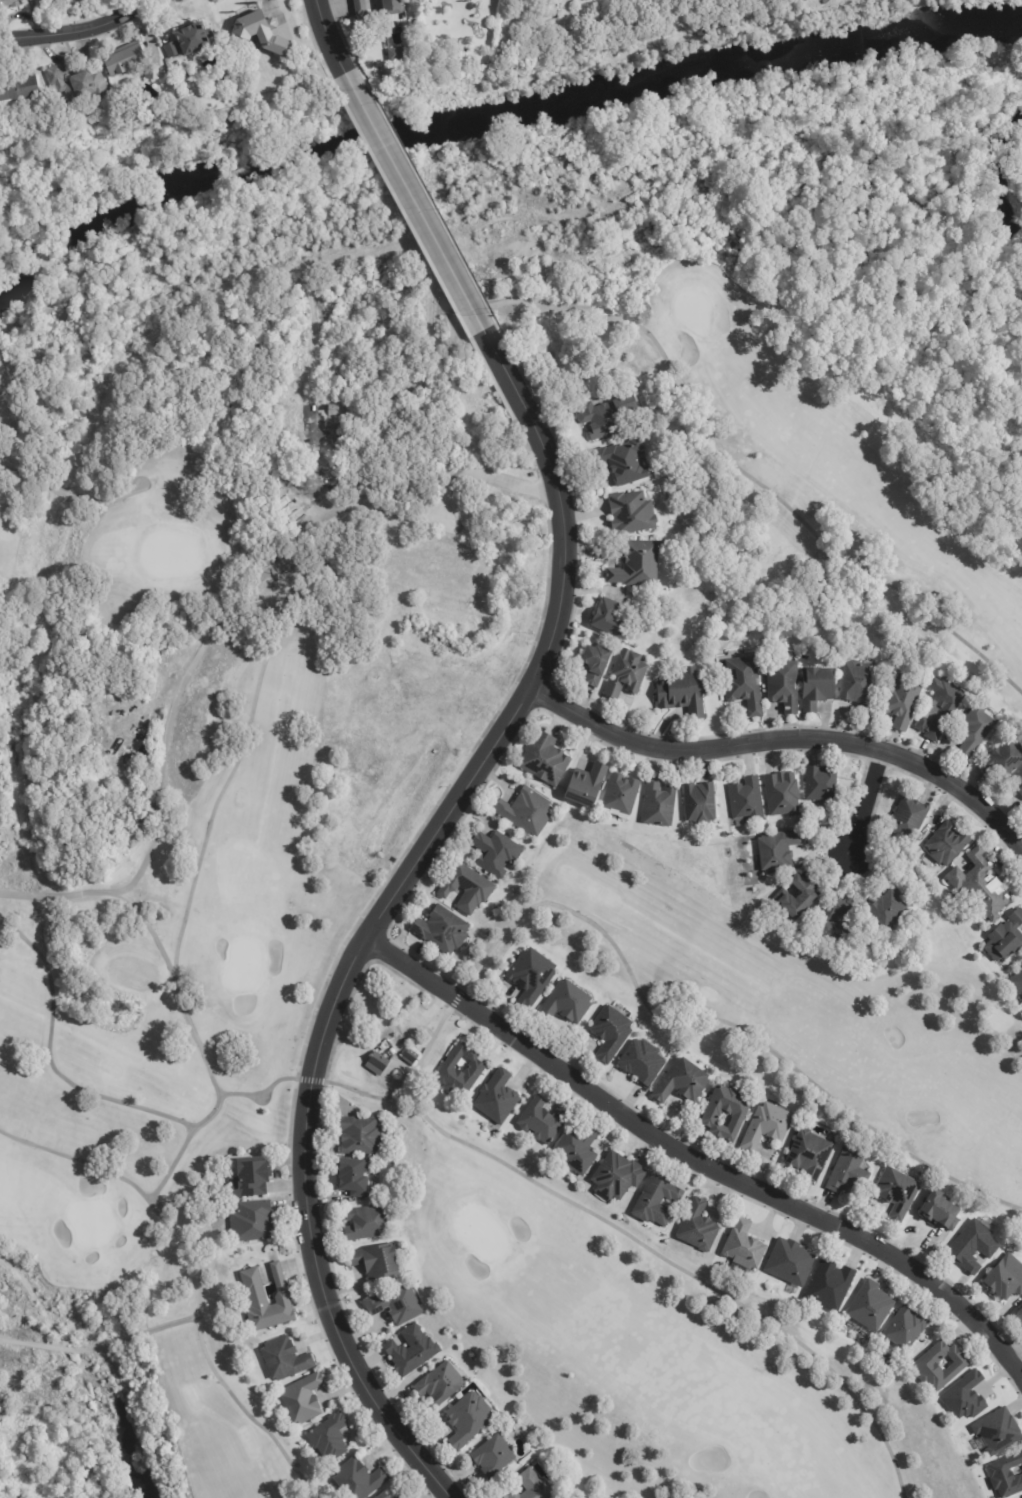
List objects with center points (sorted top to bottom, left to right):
building: (69, 0)
building: (50, 1)
building: (9, 4)
building: (362, 8)
building: (394, 8)
building: (263, 31)
road: (334, 32)
road: (76, 36)
building: (193, 37)
building: (171, 49)
building: (401, 55)
building: (130, 62)
building: (19, 88)
building: (81, 88)
road: (429, 222)
building: (634, 402)
building: (338, 415)
building: (602, 421)
building: (625, 463)
building: (632, 513)
building: (472, 553)
building: (435, 565)
building: (638, 565)
building: (612, 620)
building: (163, 664)
building: (596, 665)
building: (627, 675)
building: (741, 683)
building: (858, 683)
building: (785, 686)
building: (818, 689)
building: (684, 694)
building: (904, 701)
building: (942, 710)
building: (976, 731)
road: (788, 741)
building: (541, 758)
building: (1003, 761)
building: (1020, 778)
road: (161, 780)
building: (582, 784)
building: (822, 784)
building: (1020, 792)
building: (621, 795)
building: (784, 795)
building: (748, 801)
building: (701, 804)
building: (659, 805)
road: (870, 805)
building: (523, 810)
building: (909, 818)
park: (305, 839)
building: (948, 845)
building: (779, 851)
building: (493, 852)
building: (464, 887)
building: (981, 887)
building: (799, 900)
building: (890, 911)
building: (835, 923)
building: (439, 929)
road: (376, 932)
building: (1006, 939)
road: (174, 976)
building: (532, 976)
building: (1017, 984)
park: (785, 999)
building: (567, 1002)
building: (612, 1032)
building: (411, 1057)
building: (643, 1061)
building: (378, 1063)
building: (476, 1069)
building: (684, 1081)
building: (498, 1098)
building: (739, 1112)
building: (543, 1121)
building: (768, 1126)
building: (361, 1135)
building: (578, 1150)
building: (810, 1154)
road: (696, 1162)
building: (849, 1172)
building: (251, 1177)
building: (354, 1177)
building: (618, 1177)
building: (898, 1192)
building: (657, 1202)
building: (941, 1209)
building: (252, 1221)
building: (367, 1223)
building: (699, 1227)
building: (744, 1246)
building: (974, 1247)
building: (378, 1261)
building: (789, 1262)
building: (1006, 1279)
building: (831, 1287)
building: (257, 1296)
building: (396, 1305)
building: (872, 1306)
building: (1019, 1316)
building: (907, 1328)
park: (659, 1347)
building: (412, 1351)
building: (285, 1359)
building: (929, 1369)
building: (441, 1384)
building: (963, 1397)
building: (303, 1399)
building: (468, 1420)
building: (996, 1430)
building: (330, 1437)
building: (495, 1456)
building: (1007, 1476)
building: (360, 1480)
building: (531, 1487)
building: (384, 1496)
building: (400, 1496)
building: (403, 1497)

